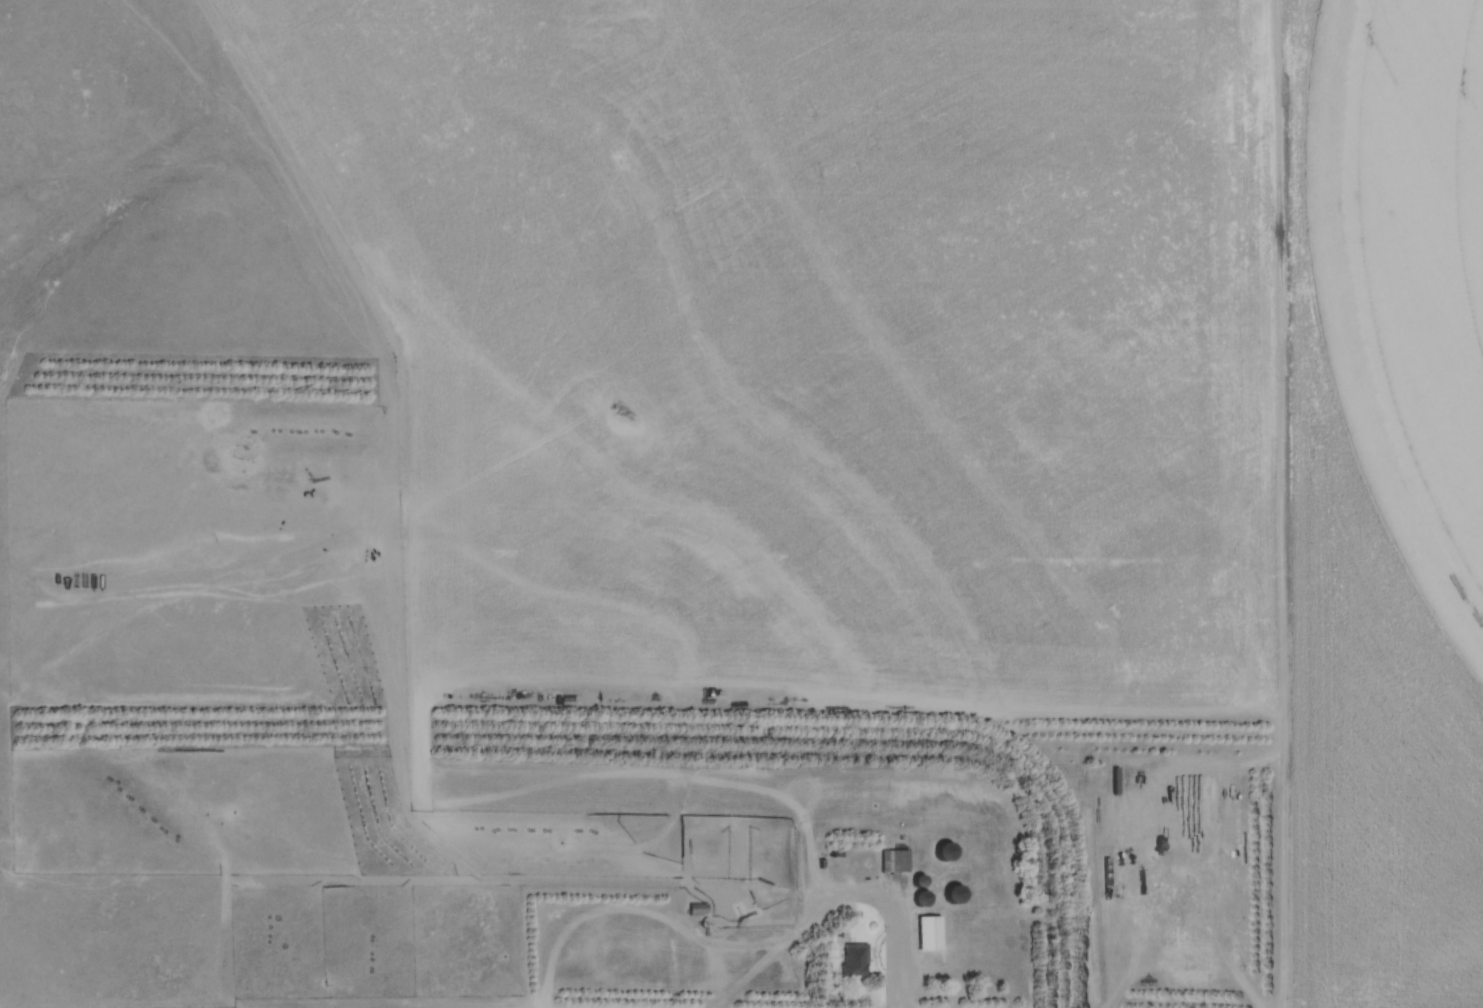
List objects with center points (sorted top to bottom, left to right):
building: (895, 861)
building: (954, 895)
road: (846, 897)
building: (696, 910)
building: (855, 960)

